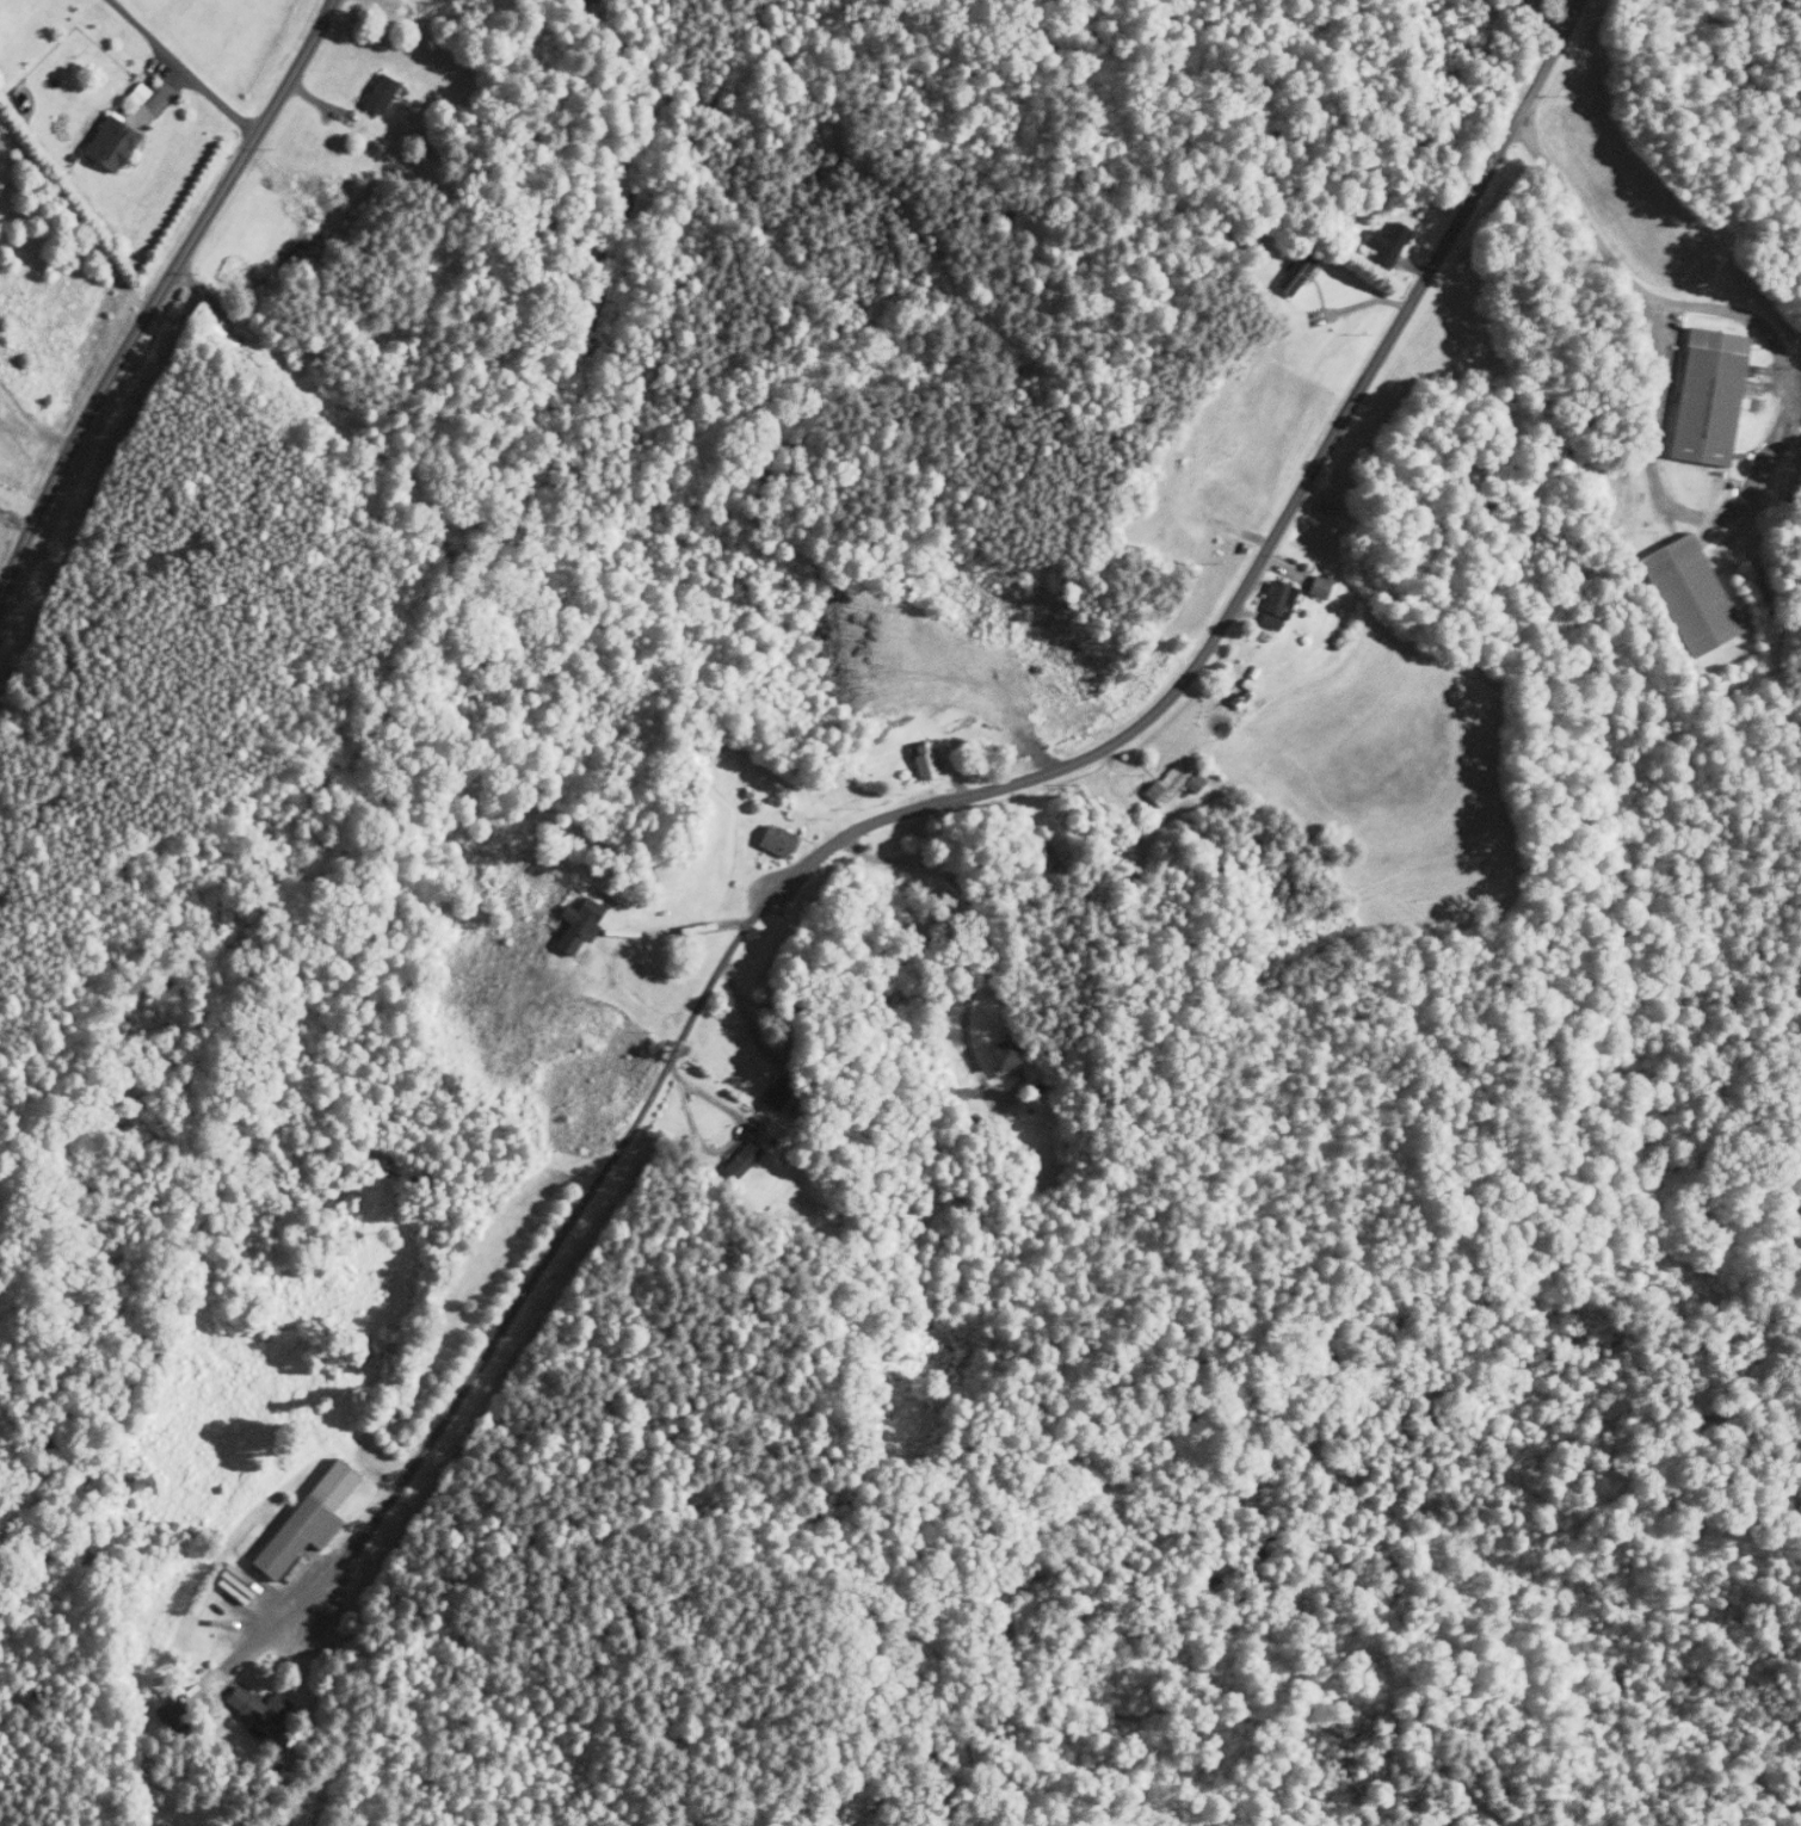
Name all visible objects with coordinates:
building: (1536, 0)
road: (174, 66)
building: (383, 94)
building: (115, 143)
building: (1390, 243)
road: (1622, 266)
building: (1300, 274)
road: (158, 288)
building: (1711, 396)
road: (18, 499)
building: (1321, 587)
building: (1277, 616)
building: (1704, 625)
building: (927, 760)
building: (1177, 783)
road: (936, 808)
building: (781, 841)
road: (981, 924)
building: (581, 925)
building: (1005, 1056)
building: (782, 1092)
road: (711, 1097)
building: (745, 1160)
building: (312, 1519)
building: (261, 1708)

